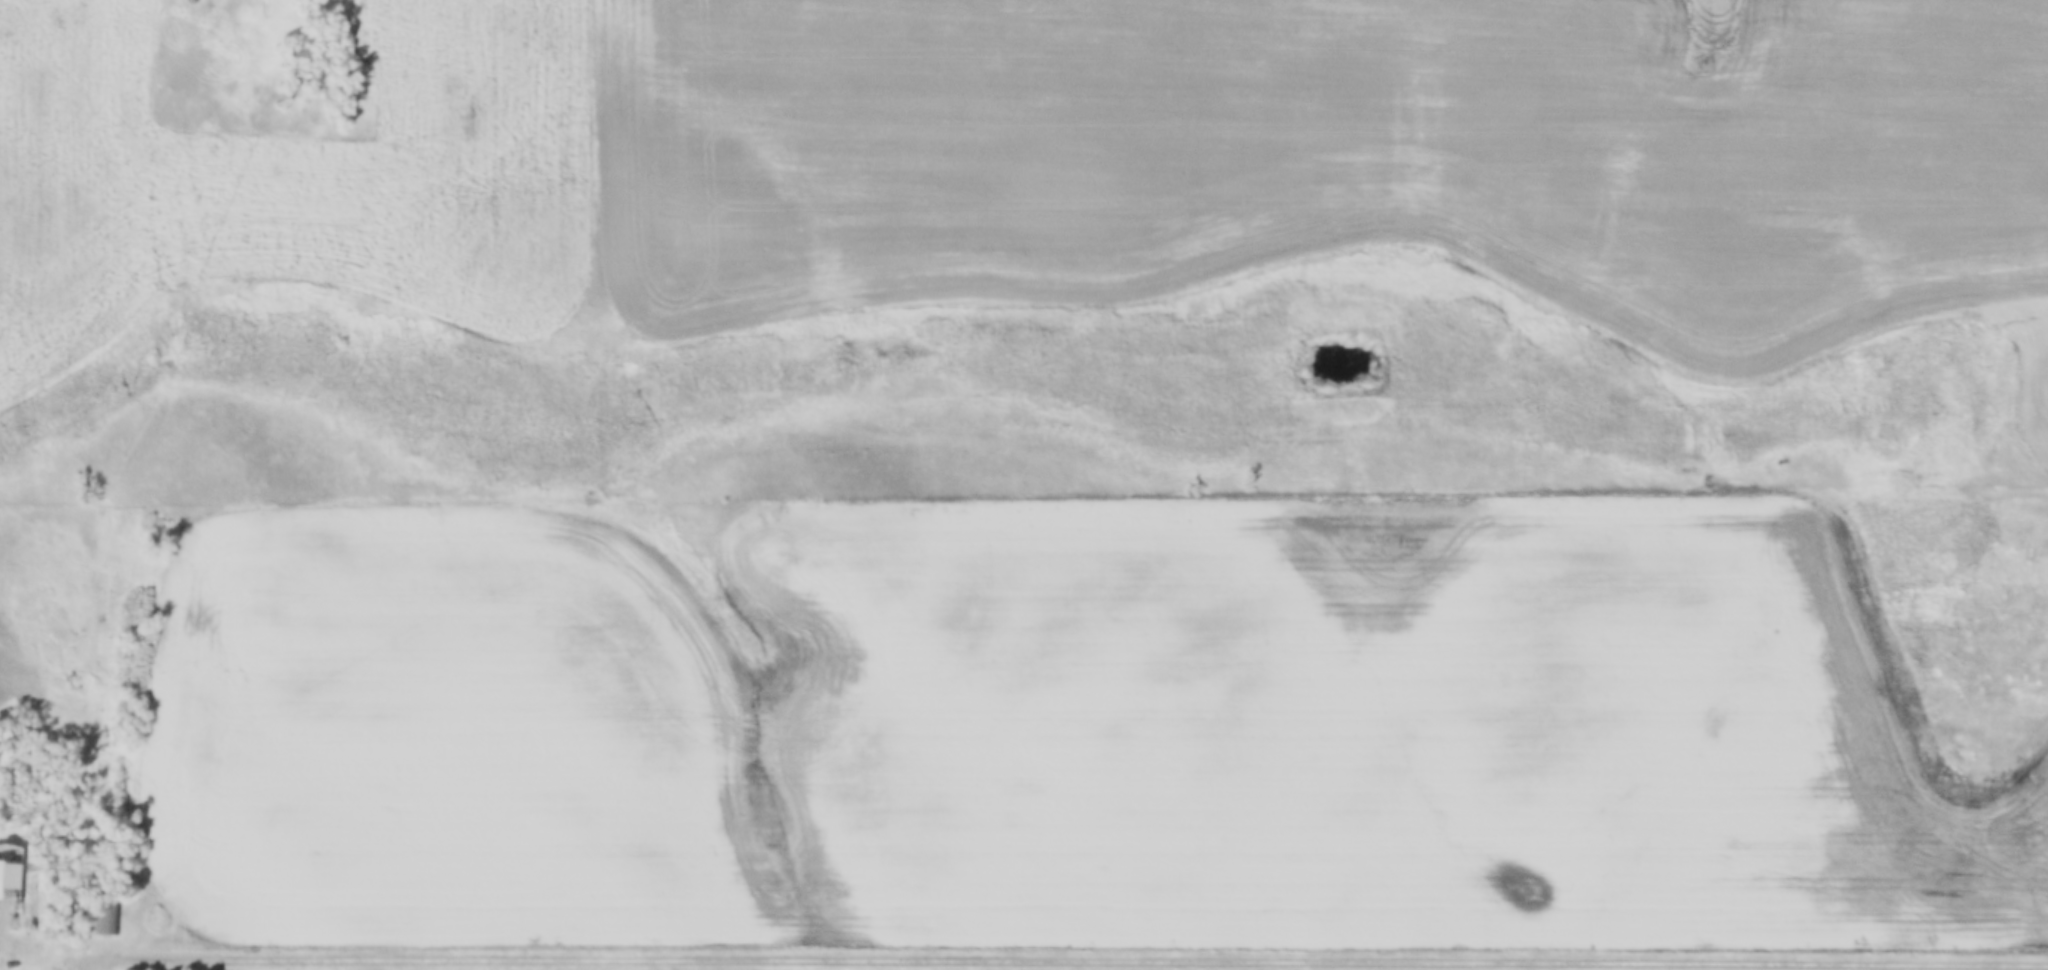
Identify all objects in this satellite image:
building: (7, 887)
road: (1073, 964)

